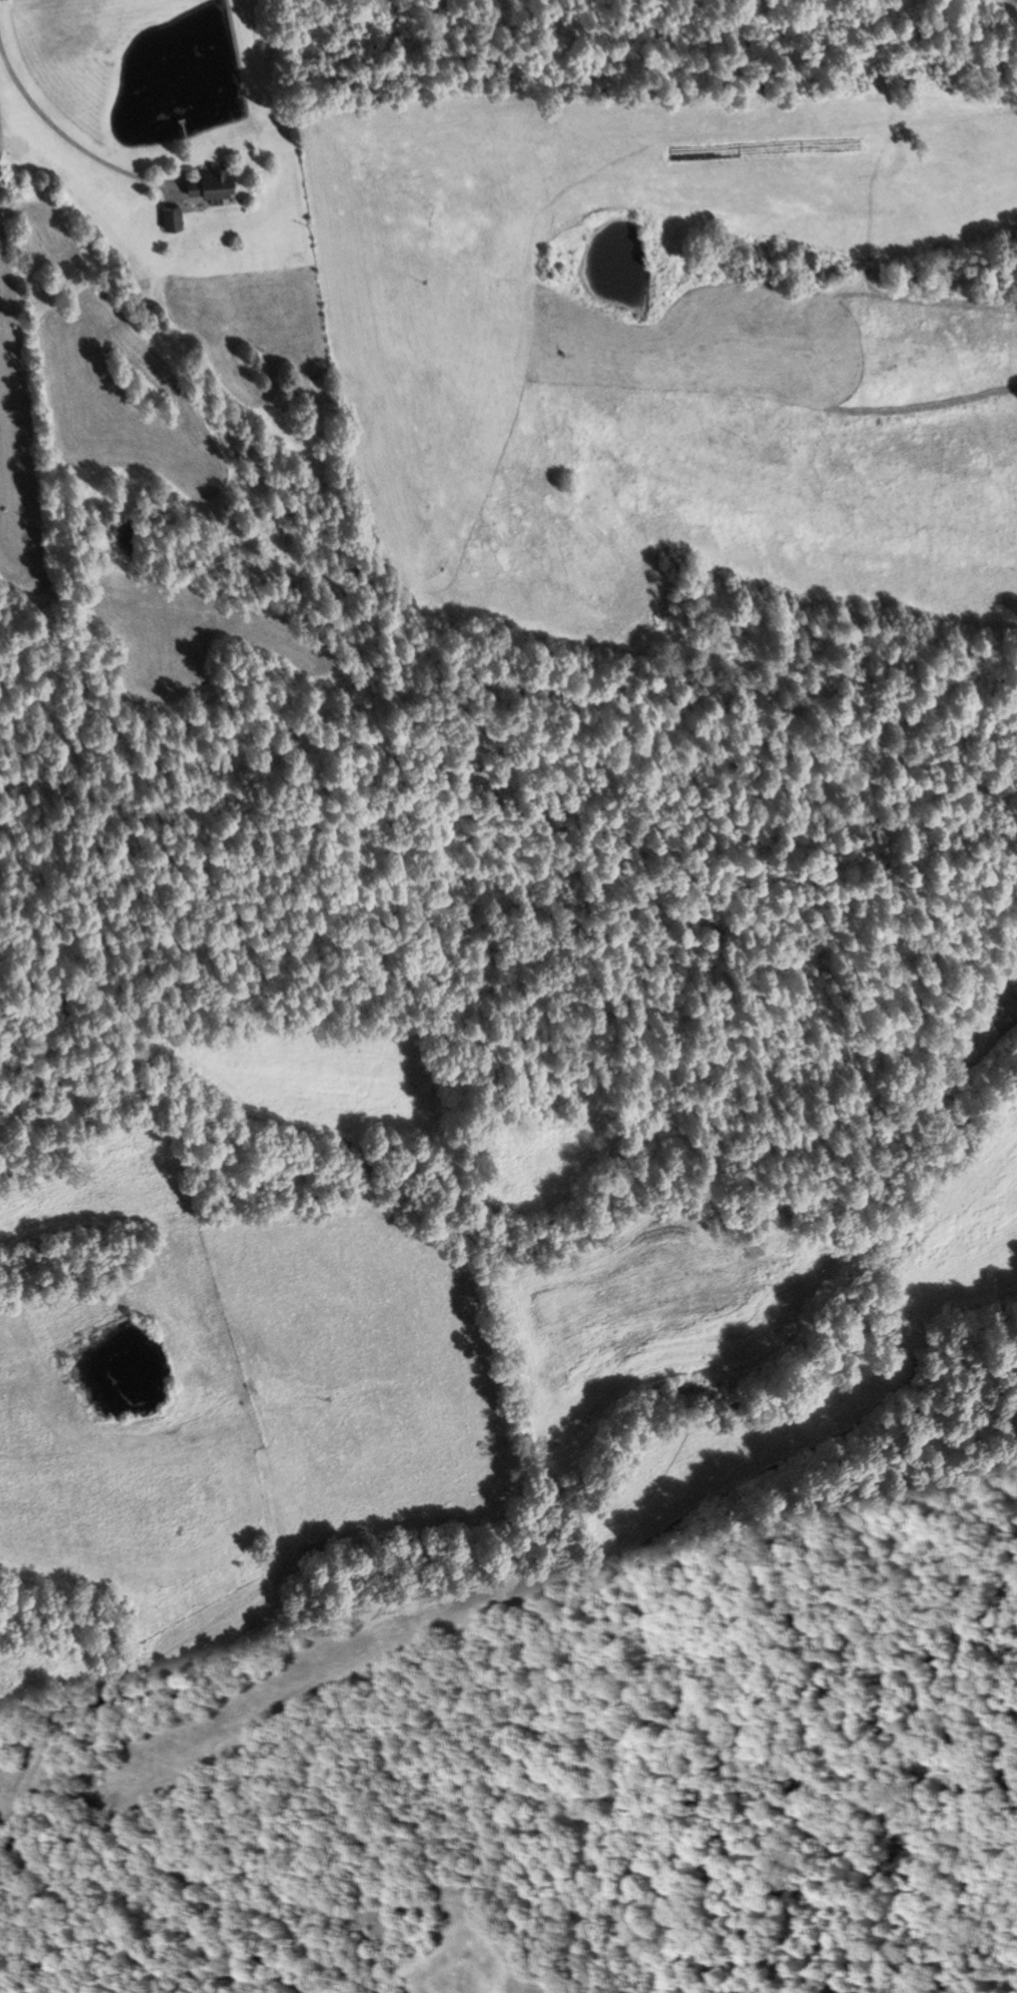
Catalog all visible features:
road: (1016, 0)
building: (209, 181)
building: (171, 217)

